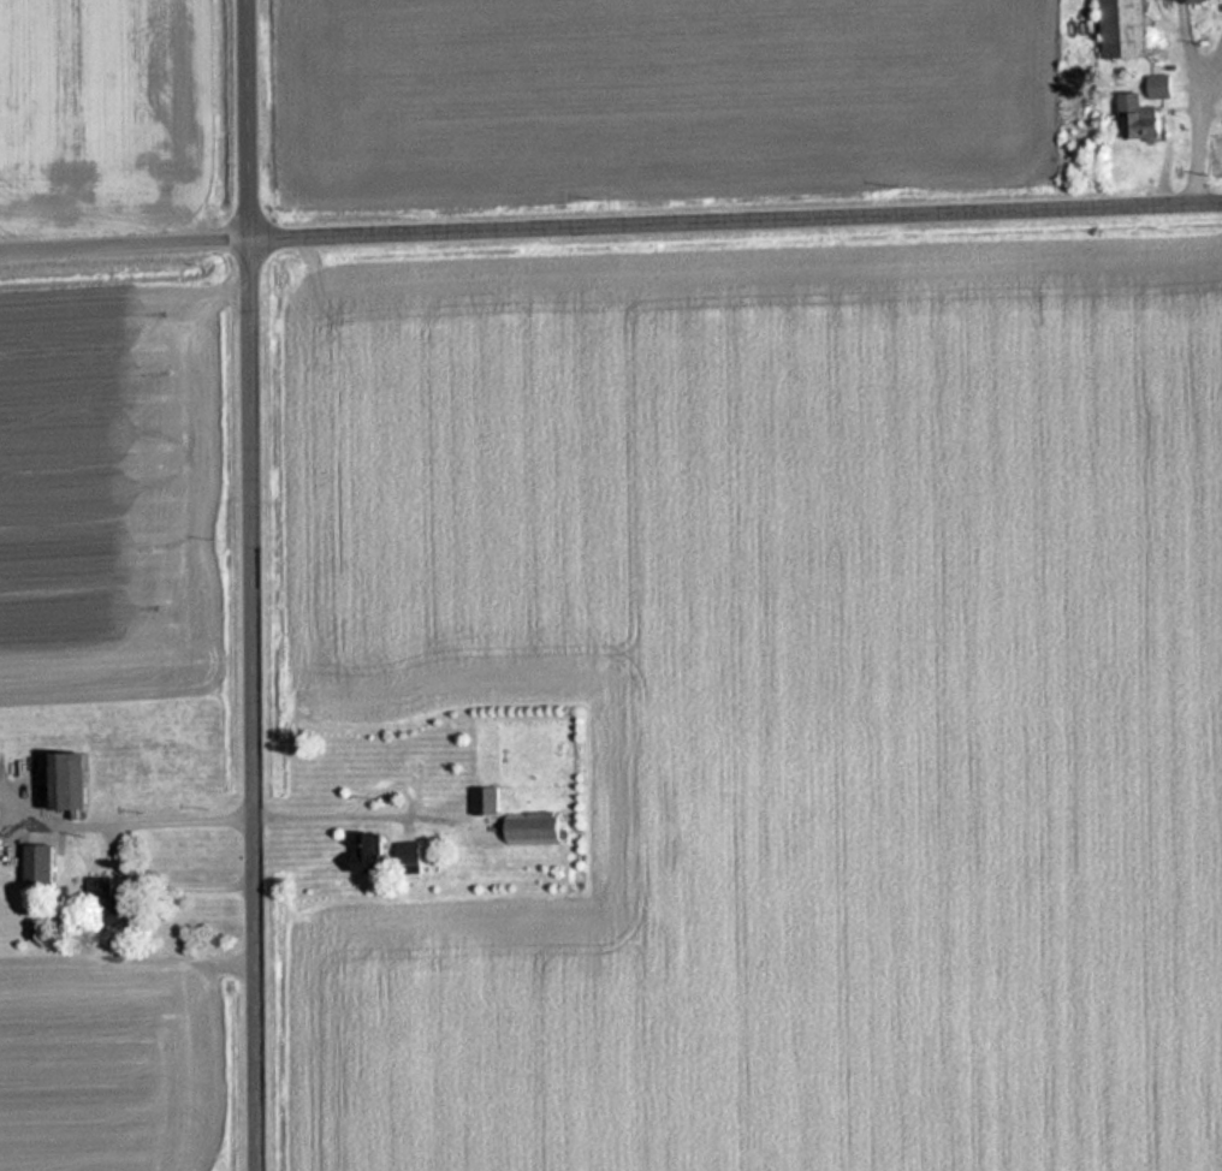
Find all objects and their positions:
building: (1129, 28)
building: (1164, 88)
building: (1147, 119)
road: (256, 120)
road: (740, 221)
road: (129, 245)
road: (261, 706)
building: (73, 781)
building: (488, 801)
building: (538, 828)
building: (380, 854)
building: (114, 907)

